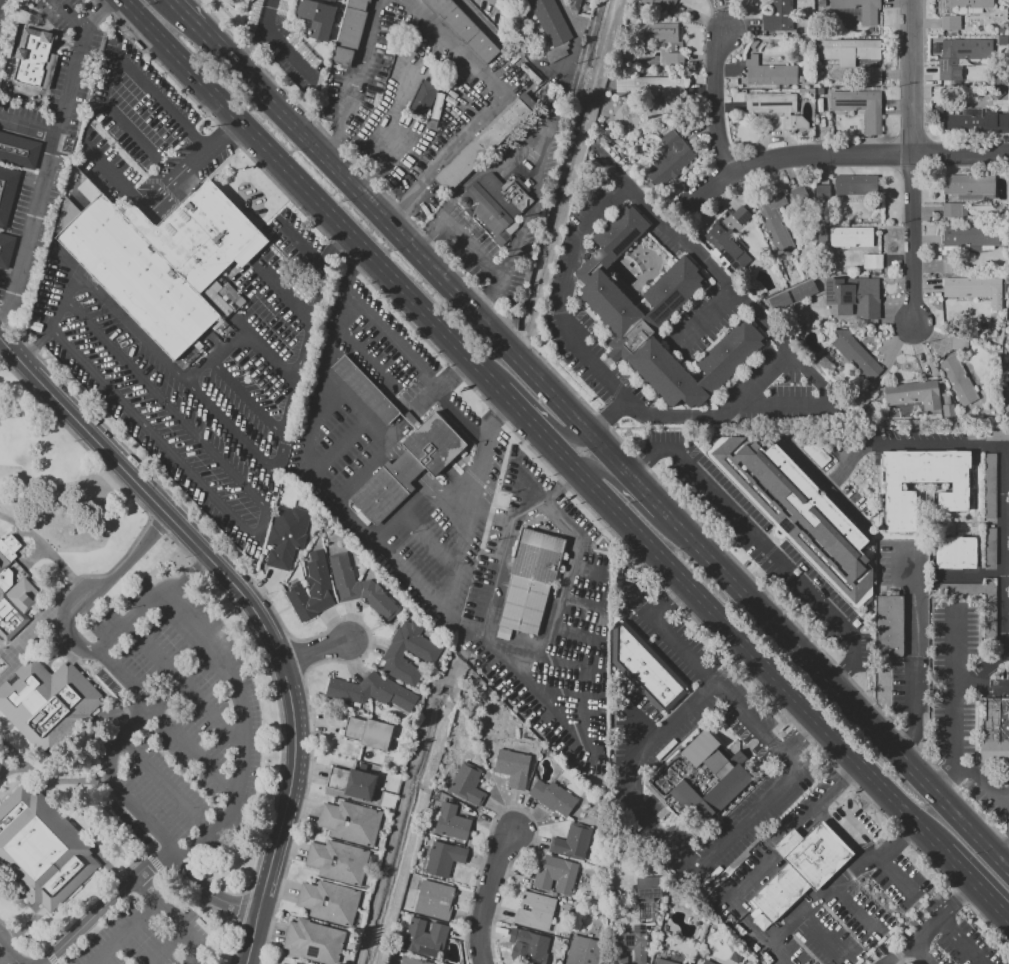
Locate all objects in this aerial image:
building: (334, 0)
building: (665, 4)
building: (574, 5)
building: (972, 5)
building: (860, 9)
road: (98, 14)
building: (779, 16)
road: (192, 18)
building: (316, 18)
building: (950, 22)
building: (551, 27)
building: (463, 29)
building: (350, 31)
building: (655, 32)
road: (260, 36)
road: (575, 43)
building: (976, 48)
building: (849, 50)
building: (13, 53)
building: (30, 58)
building: (674, 59)
building: (46, 71)
building: (770, 72)
building: (871, 76)
road: (356, 79)
building: (654, 90)
road: (14, 92)
building: (428, 99)
road: (166, 104)
road: (716, 105)
building: (774, 105)
building: (860, 107)
road: (489, 109)
building: (977, 122)
road: (28, 127)
road: (224, 133)
building: (485, 142)
road: (53, 149)
road: (376, 152)
road: (845, 154)
building: (671, 159)
road: (911, 161)
road: (612, 168)
building: (1008, 175)
road: (571, 180)
building: (855, 184)
building: (12, 185)
building: (969, 186)
road: (313, 194)
building: (821, 194)
road: (145, 202)
building: (495, 204)
road: (534, 205)
building: (954, 210)
building: (741, 215)
building: (779, 217)
building: (851, 235)
building: (971, 236)
road: (680, 238)
road: (333, 244)
road: (307, 246)
building: (727, 246)
road: (475, 248)
road: (417, 255)
building: (162, 259)
building: (872, 261)
road: (648, 276)
road: (619, 282)
road: (280, 290)
building: (974, 290)
road: (635, 294)
road: (629, 295)
building: (854, 296)
road: (64, 304)
building: (656, 318)
road: (705, 318)
road: (6, 319)
building: (958, 342)
building: (855, 354)
road: (267, 359)
building: (822, 361)
road: (606, 364)
road: (173, 369)
road: (195, 378)
building: (1008, 378)
building: (958, 380)
building: (368, 390)
flagpole: (579, 390)
road: (248, 392)
flagpole: (582, 392)
road: (615, 394)
building: (914, 394)
road: (164, 396)
road: (818, 402)
road: (356, 409)
road: (519, 410)
building: (949, 412)
building: (1008, 415)
road: (494, 416)
road: (610, 418)
road: (395, 429)
road: (563, 434)
flagpole: (476, 440)
road: (913, 444)
road: (340, 448)
road: (410, 466)
building: (411, 467)
building: (990, 485)
road: (565, 486)
park: (58, 489)
building: (900, 491)
road: (644, 492)
road: (418, 497)
road: (634, 503)
building: (801, 510)
road: (249, 530)
building: (286, 535)
parking lot: (761, 540)
road: (40, 541)
road: (428, 542)
road: (576, 543)
road: (767, 545)
building: (990, 548)
road: (1006, 549)
building: (956, 552)
road: (33, 556)
road: (77, 577)
road: (191, 581)
building: (533, 583)
road: (101, 588)
road: (233, 588)
building: (361, 588)
building: (312, 589)
building: (14, 590)
road: (74, 596)
road: (667, 601)
road: (443, 612)
building: (991, 617)
building: (889, 625)
road: (663, 632)
road: (914, 632)
road: (741, 642)
road: (955, 647)
building: (425, 654)
road: (318, 656)
road: (987, 669)
building: (647, 670)
road: (186, 683)
building: (371, 692)
road: (835, 692)
building: (51, 705)
parking lot: (961, 707)
road: (145, 714)
road: (953, 714)
parking lot: (177, 723)
road: (567, 724)
road: (242, 728)
road: (628, 730)
building: (369, 732)
building: (995, 732)
road: (799, 737)
road: (915, 744)
road: (193, 751)
road: (4, 754)
building: (513, 767)
road: (13, 769)
road: (47, 774)
road: (845, 775)
building: (706, 778)
road: (998, 779)
building: (353, 783)
building: (468, 783)
road: (982, 783)
road: (168, 786)
road: (630, 788)
building: (553, 797)
road: (1007, 801)
building: (350, 822)
building: (452, 822)
building: (573, 841)
road: (898, 841)
building: (39, 849)
road: (1002, 853)
building: (444, 859)
road: (971, 860)
building: (338, 861)
building: (801, 866)
road: (145, 868)
road: (754, 872)
building: (556, 874)
road: (900, 878)
road: (976, 886)
building: (647, 887)
road: (488, 896)
road: (823, 896)
building: (434, 900)
building: (329, 902)
building: (536, 912)
road: (174, 917)
road: (932, 924)
parking lot: (148, 931)
road: (126, 934)
building: (426, 937)
road: (823, 937)
road: (251, 938)
parking lot: (943, 938)
building: (314, 941)
building: (529, 941)
road: (959, 941)
building: (630, 944)
parking lot: (5, 946)
road: (168, 947)
building: (582, 951)
road: (10, 954)
road: (916, 955)
road: (4, 956)
building: (412, 961)
building: (665, 962)
building: (707, 962)
building: (279, 963)
building: (299, 963)
building: (906, 963)

